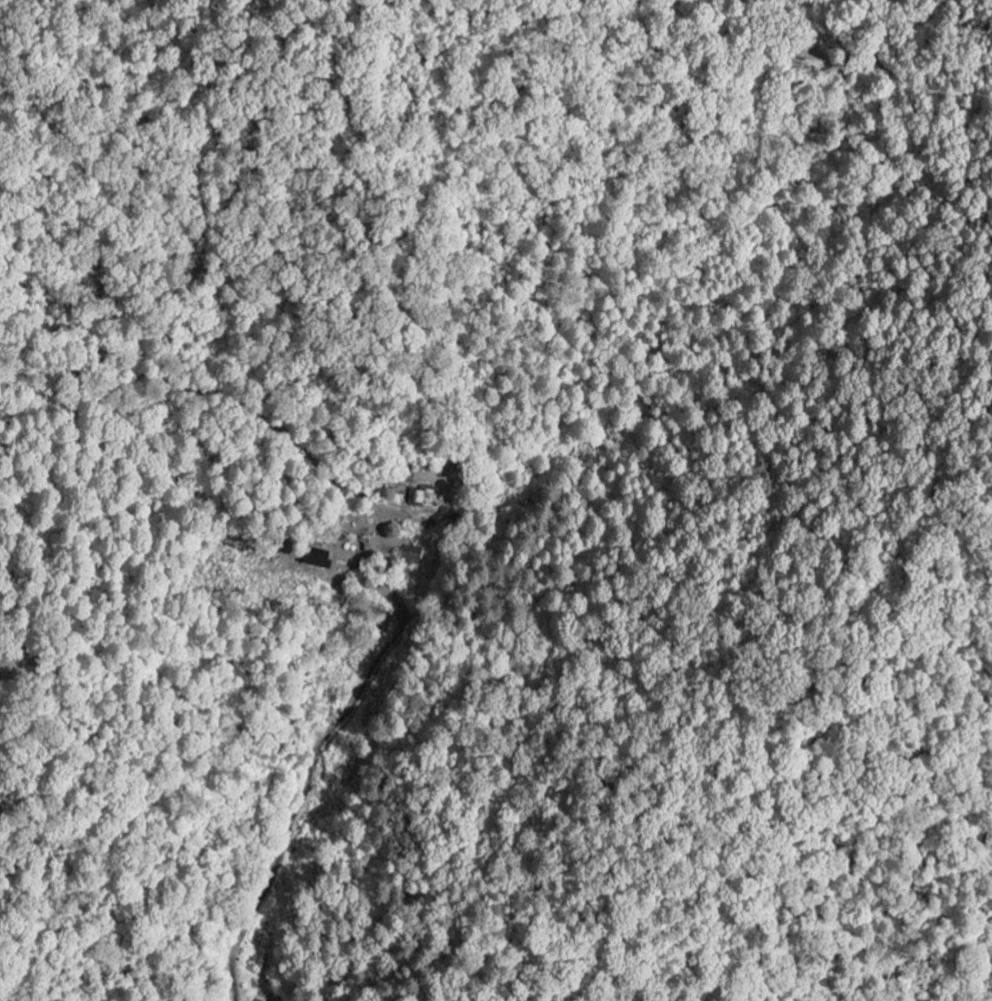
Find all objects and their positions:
building: (421, 497)
road: (384, 552)
building: (317, 558)

